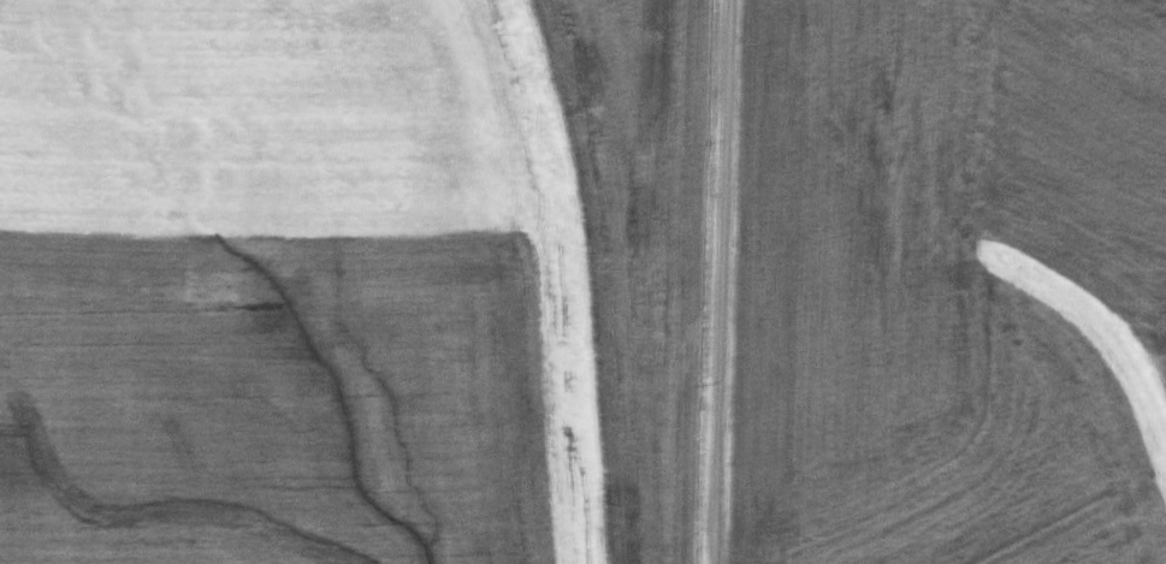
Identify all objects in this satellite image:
road: (717, 281)

